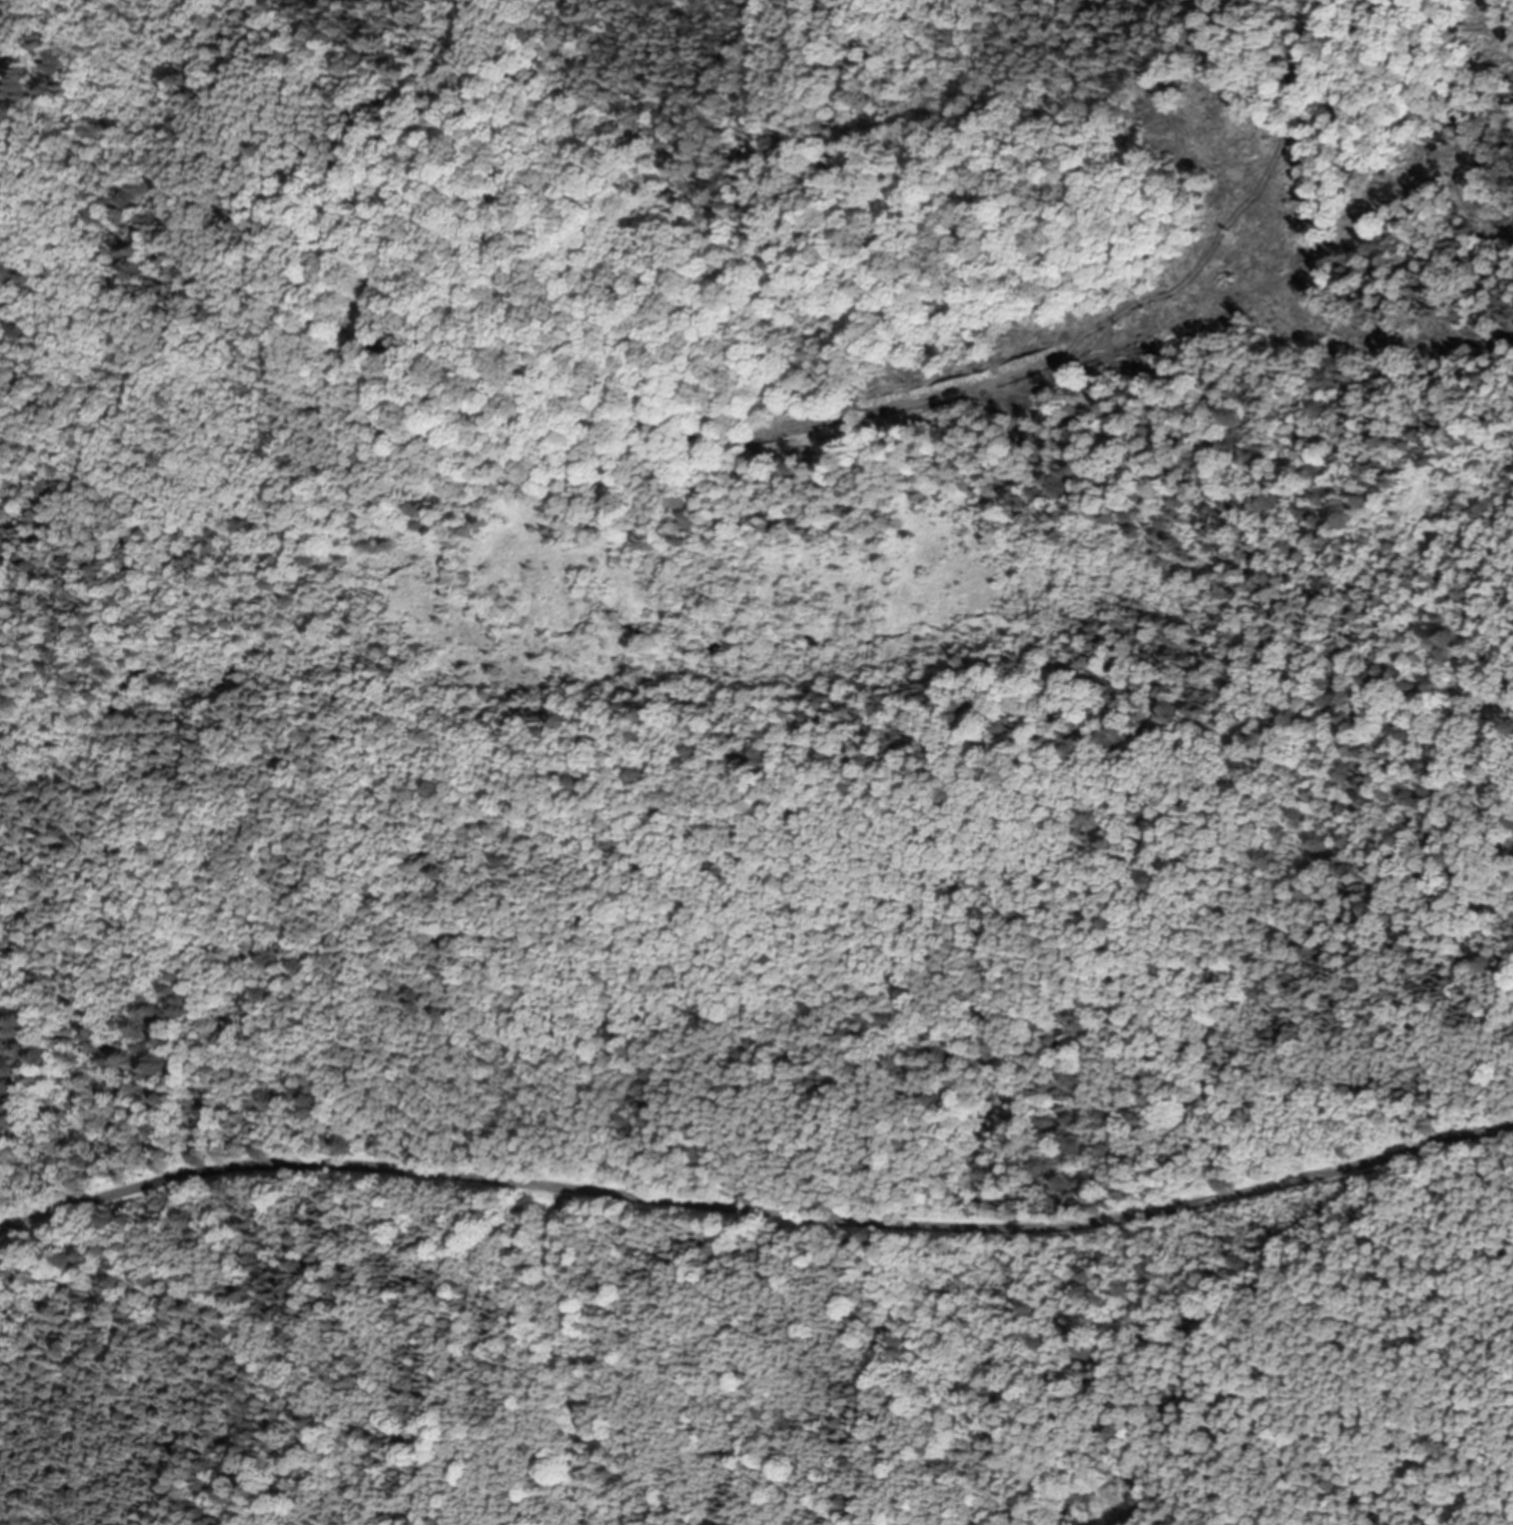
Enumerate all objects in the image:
road: (756, 1207)
road: (562, 1356)

